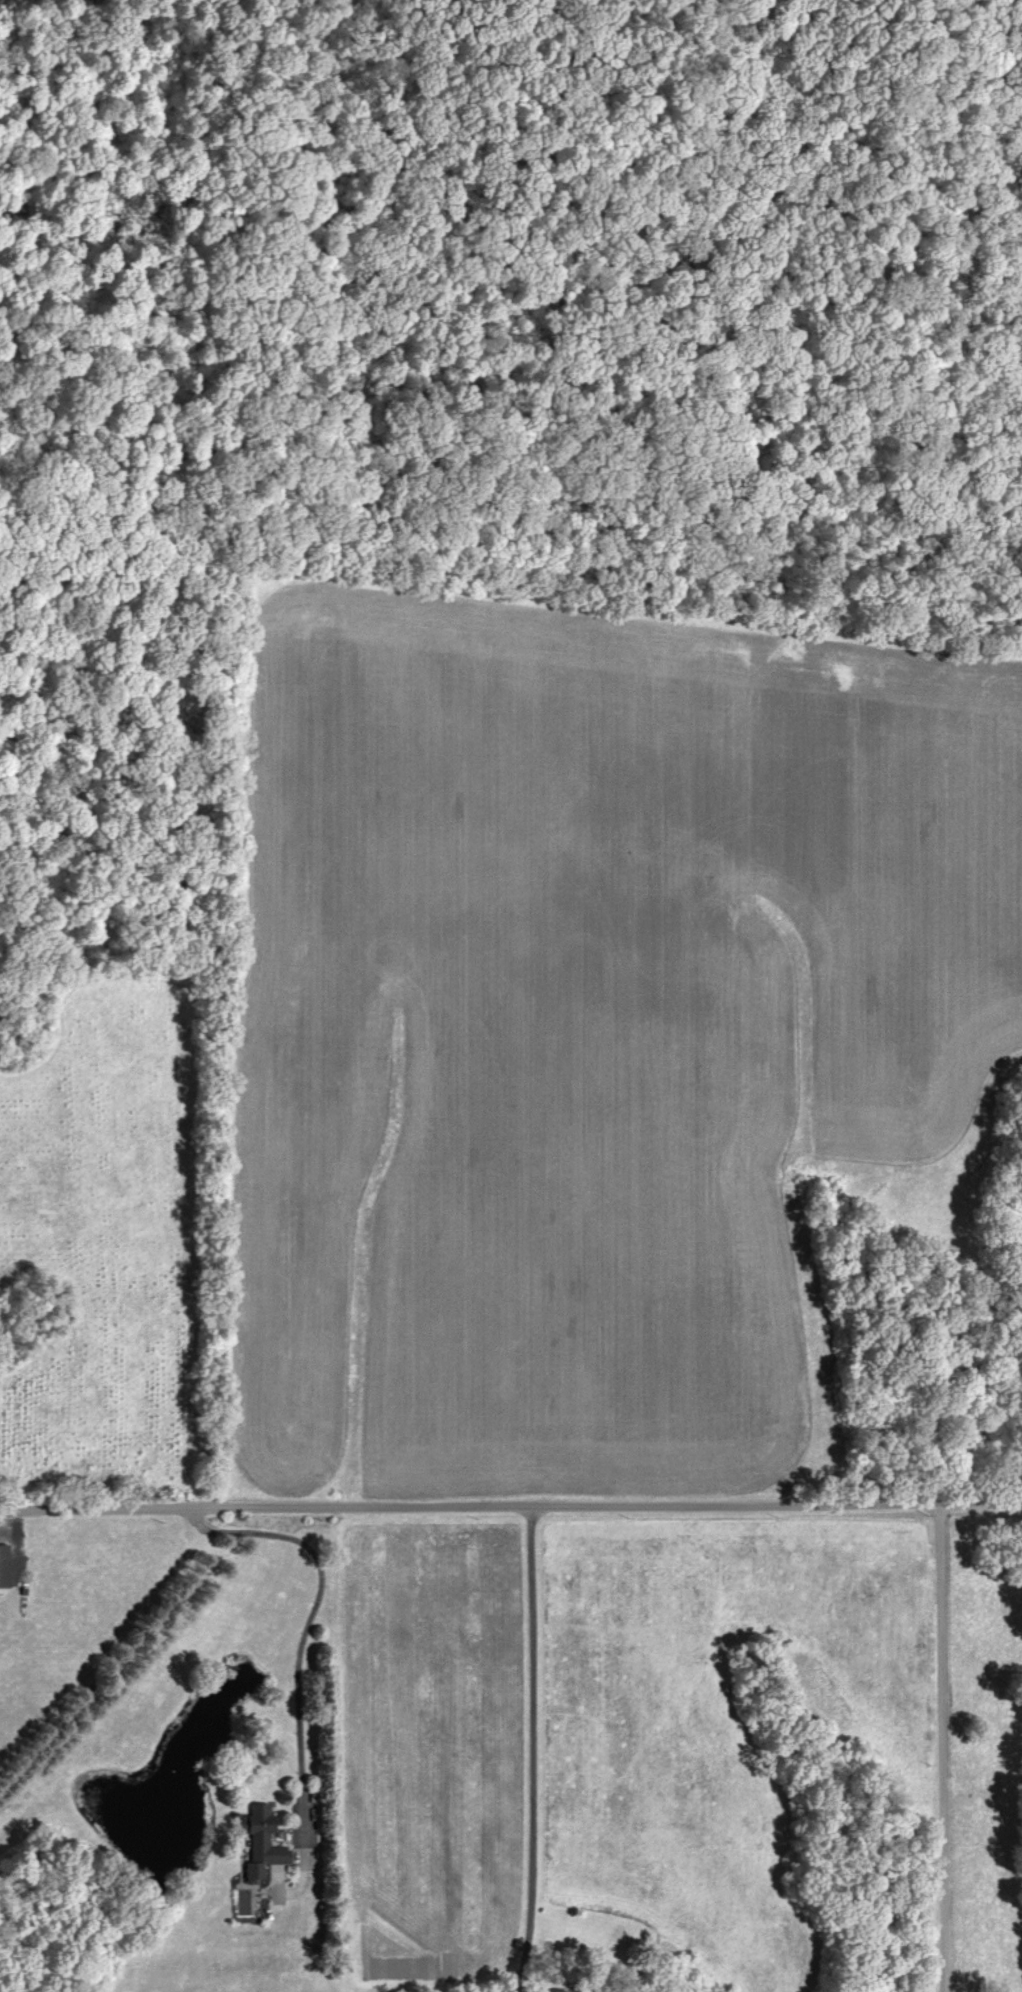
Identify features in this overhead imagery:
road: (511, 1499)
building: (6, 1569)
road: (310, 1621)
road: (954, 1745)
road: (531, 1746)
building: (264, 1843)

